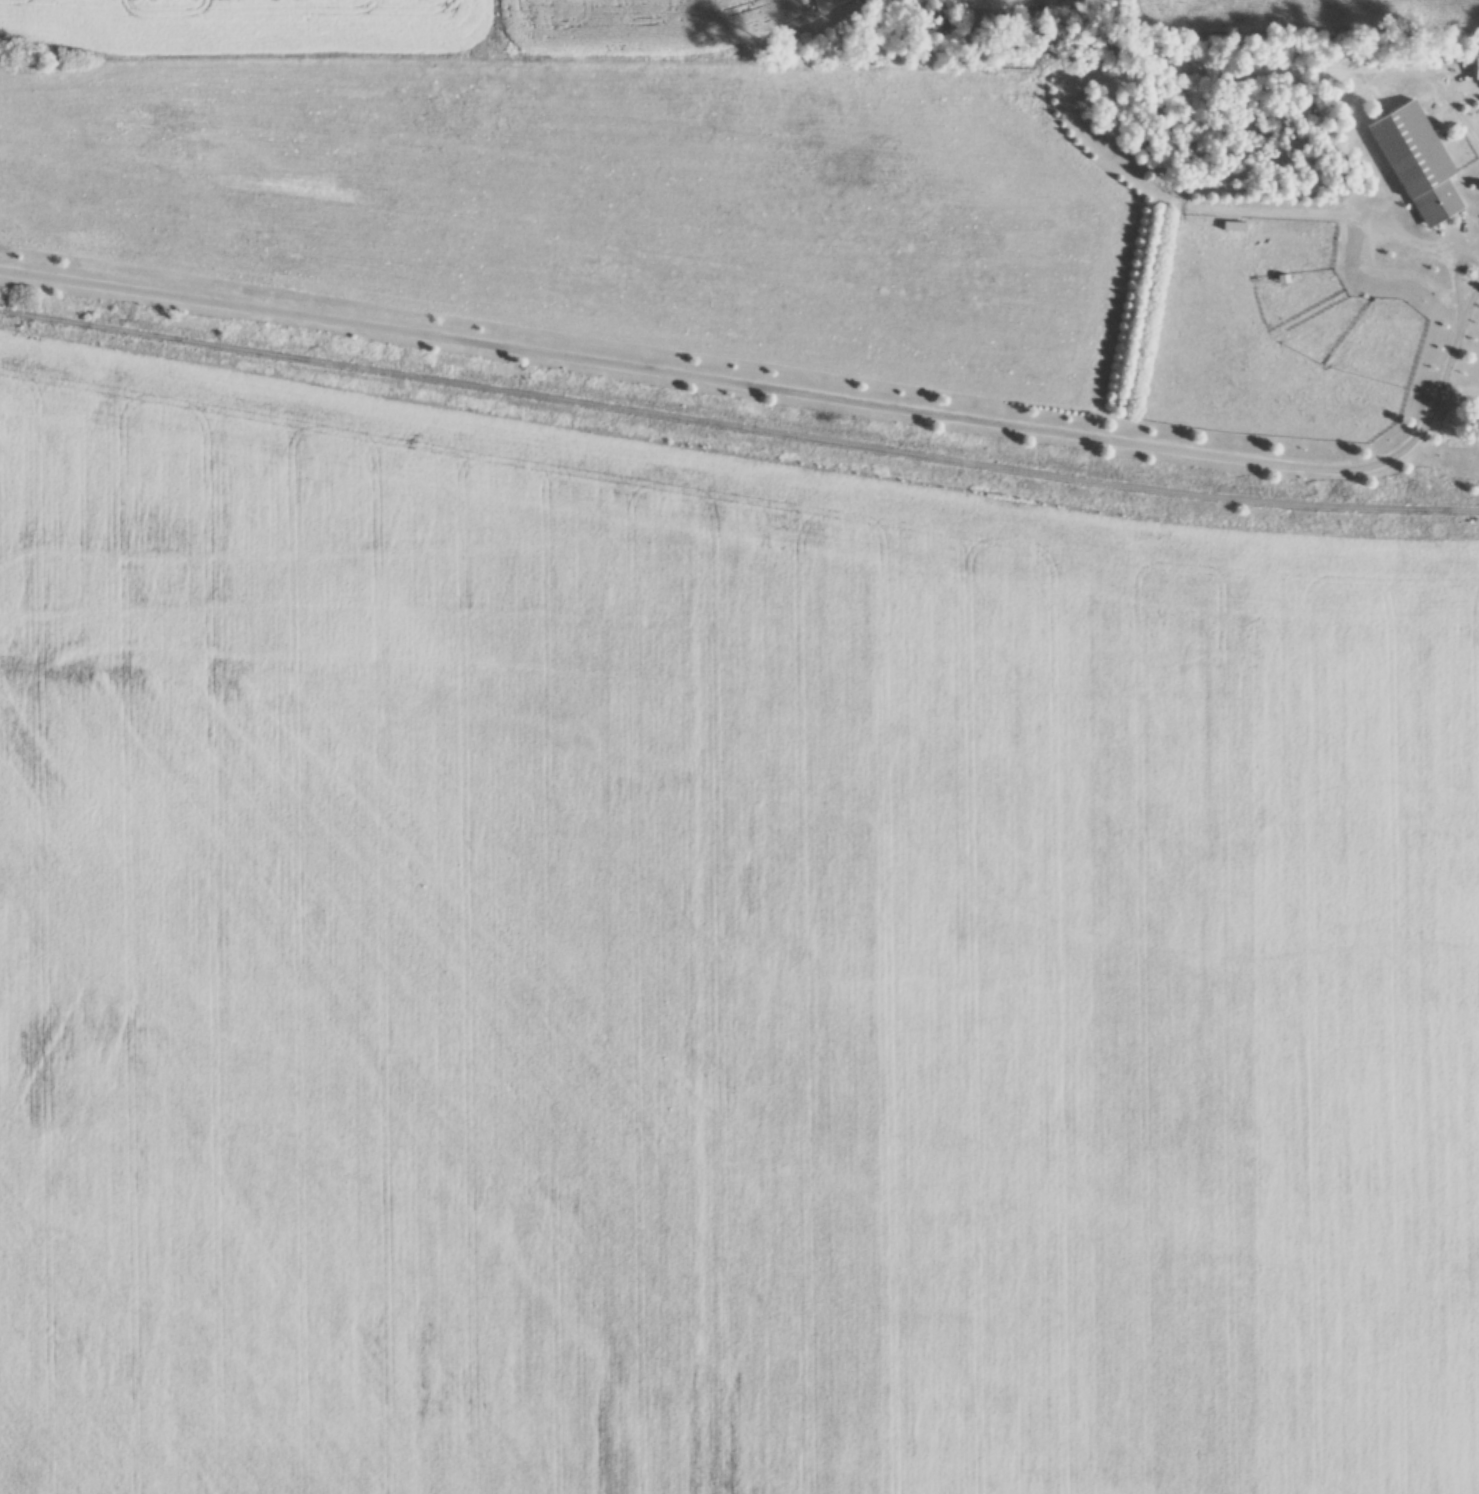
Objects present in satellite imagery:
building: (1477, 71)
building: (1419, 165)
road: (1455, 266)
road: (1473, 286)
road: (788, 392)
railway: (738, 427)

